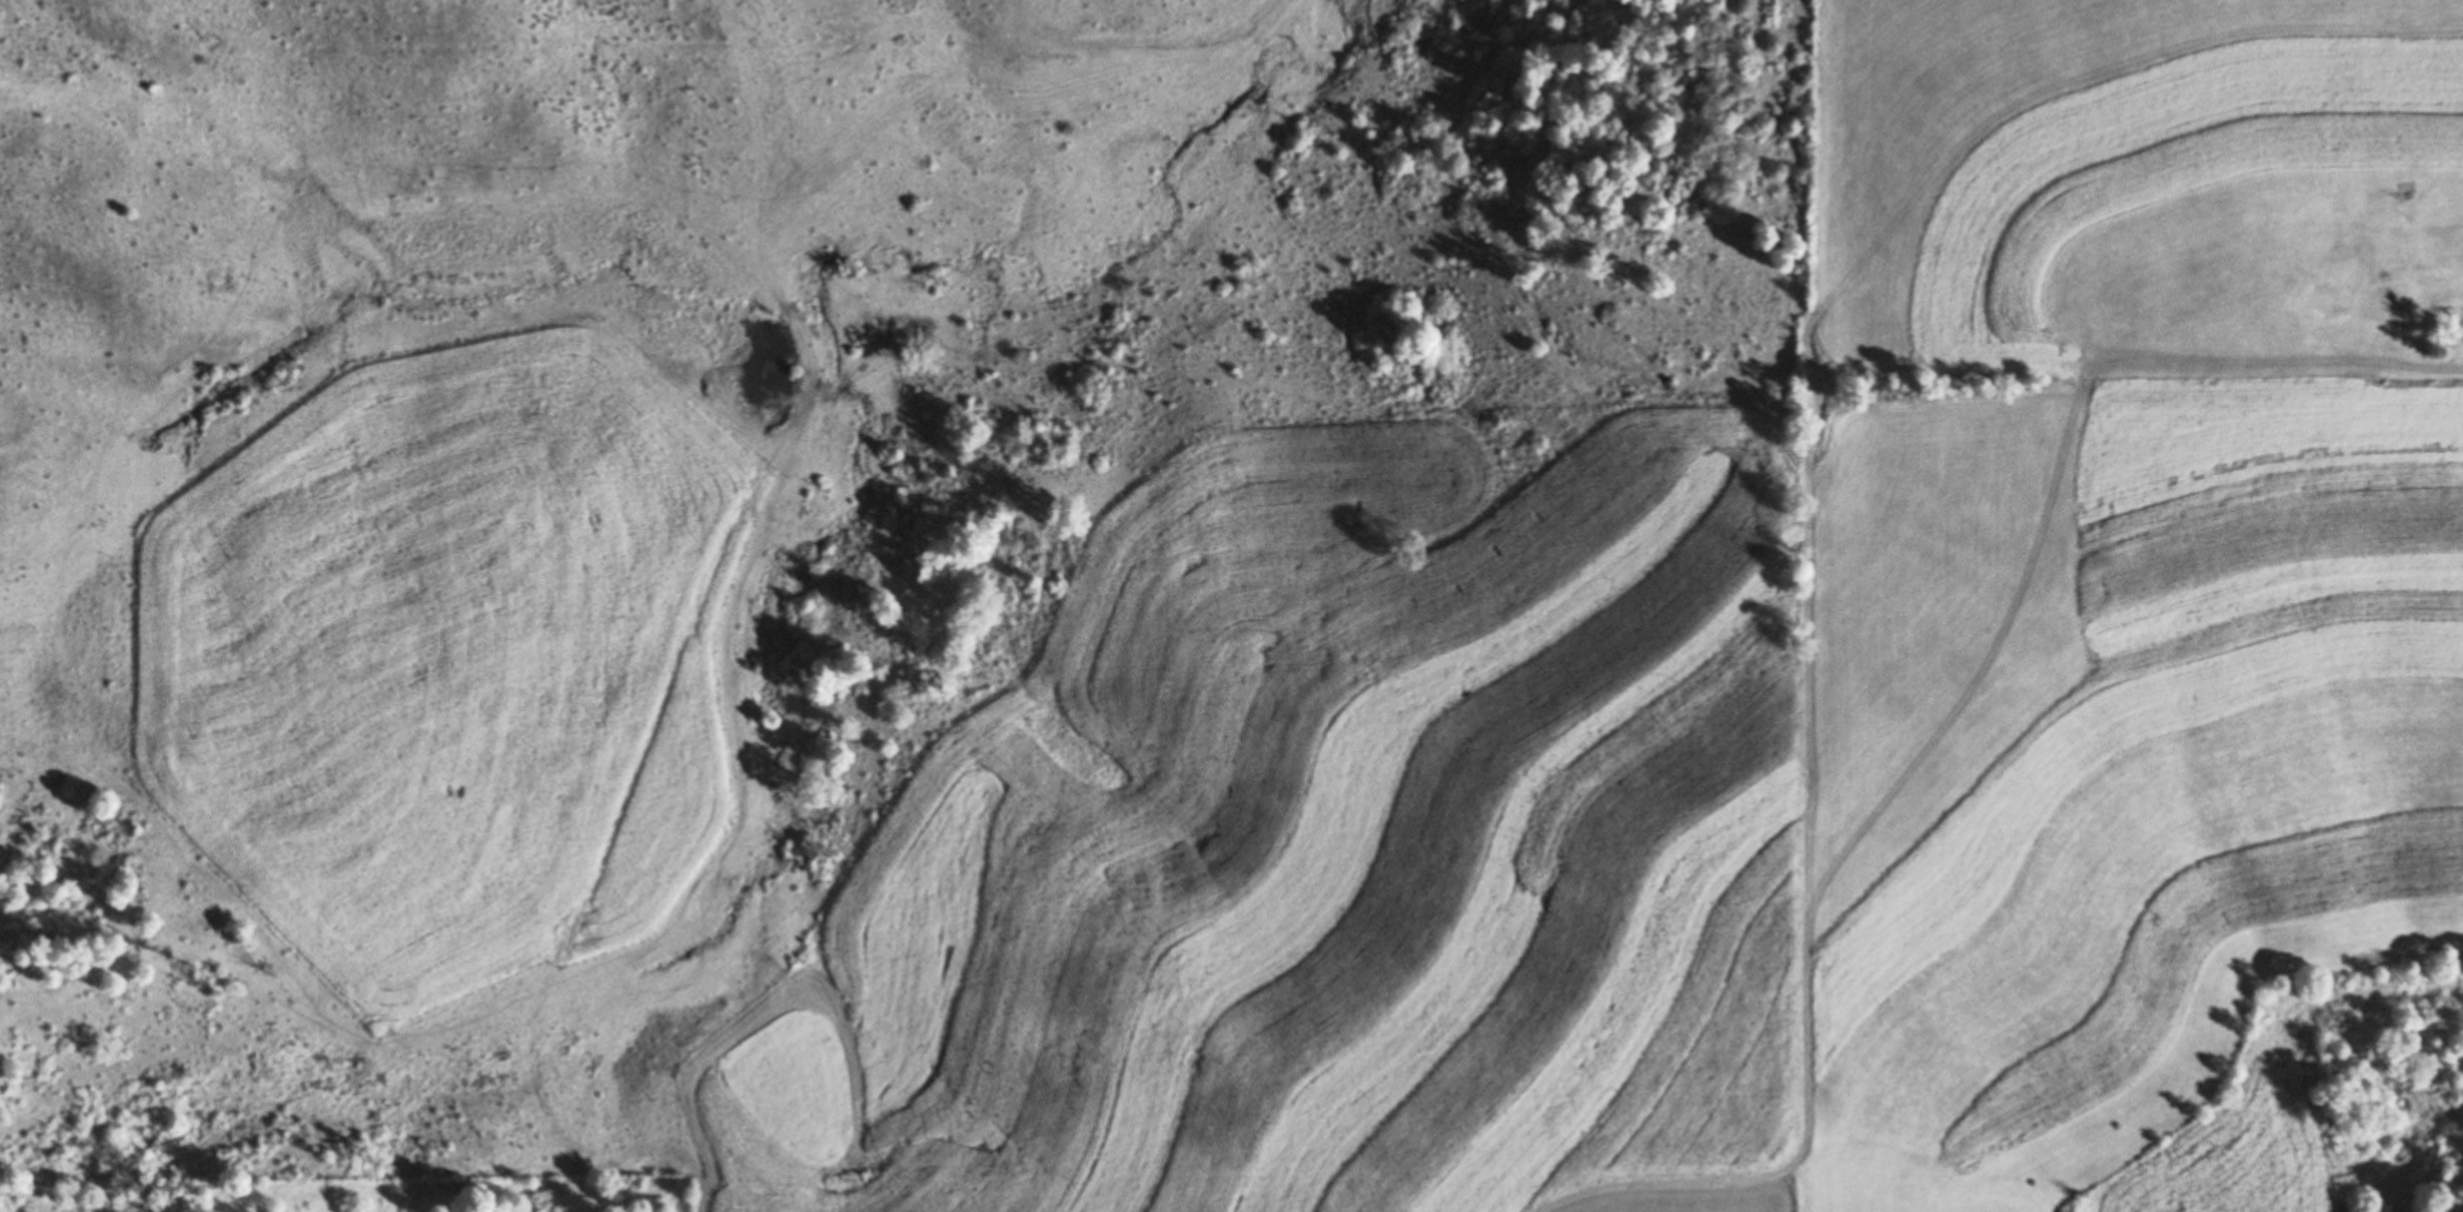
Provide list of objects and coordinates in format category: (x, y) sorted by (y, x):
crop: (2132, 187)
crop: (2112, 739)
road: (476, 872)
crop: (1905, 1183)
crop: (1235, 1200)

